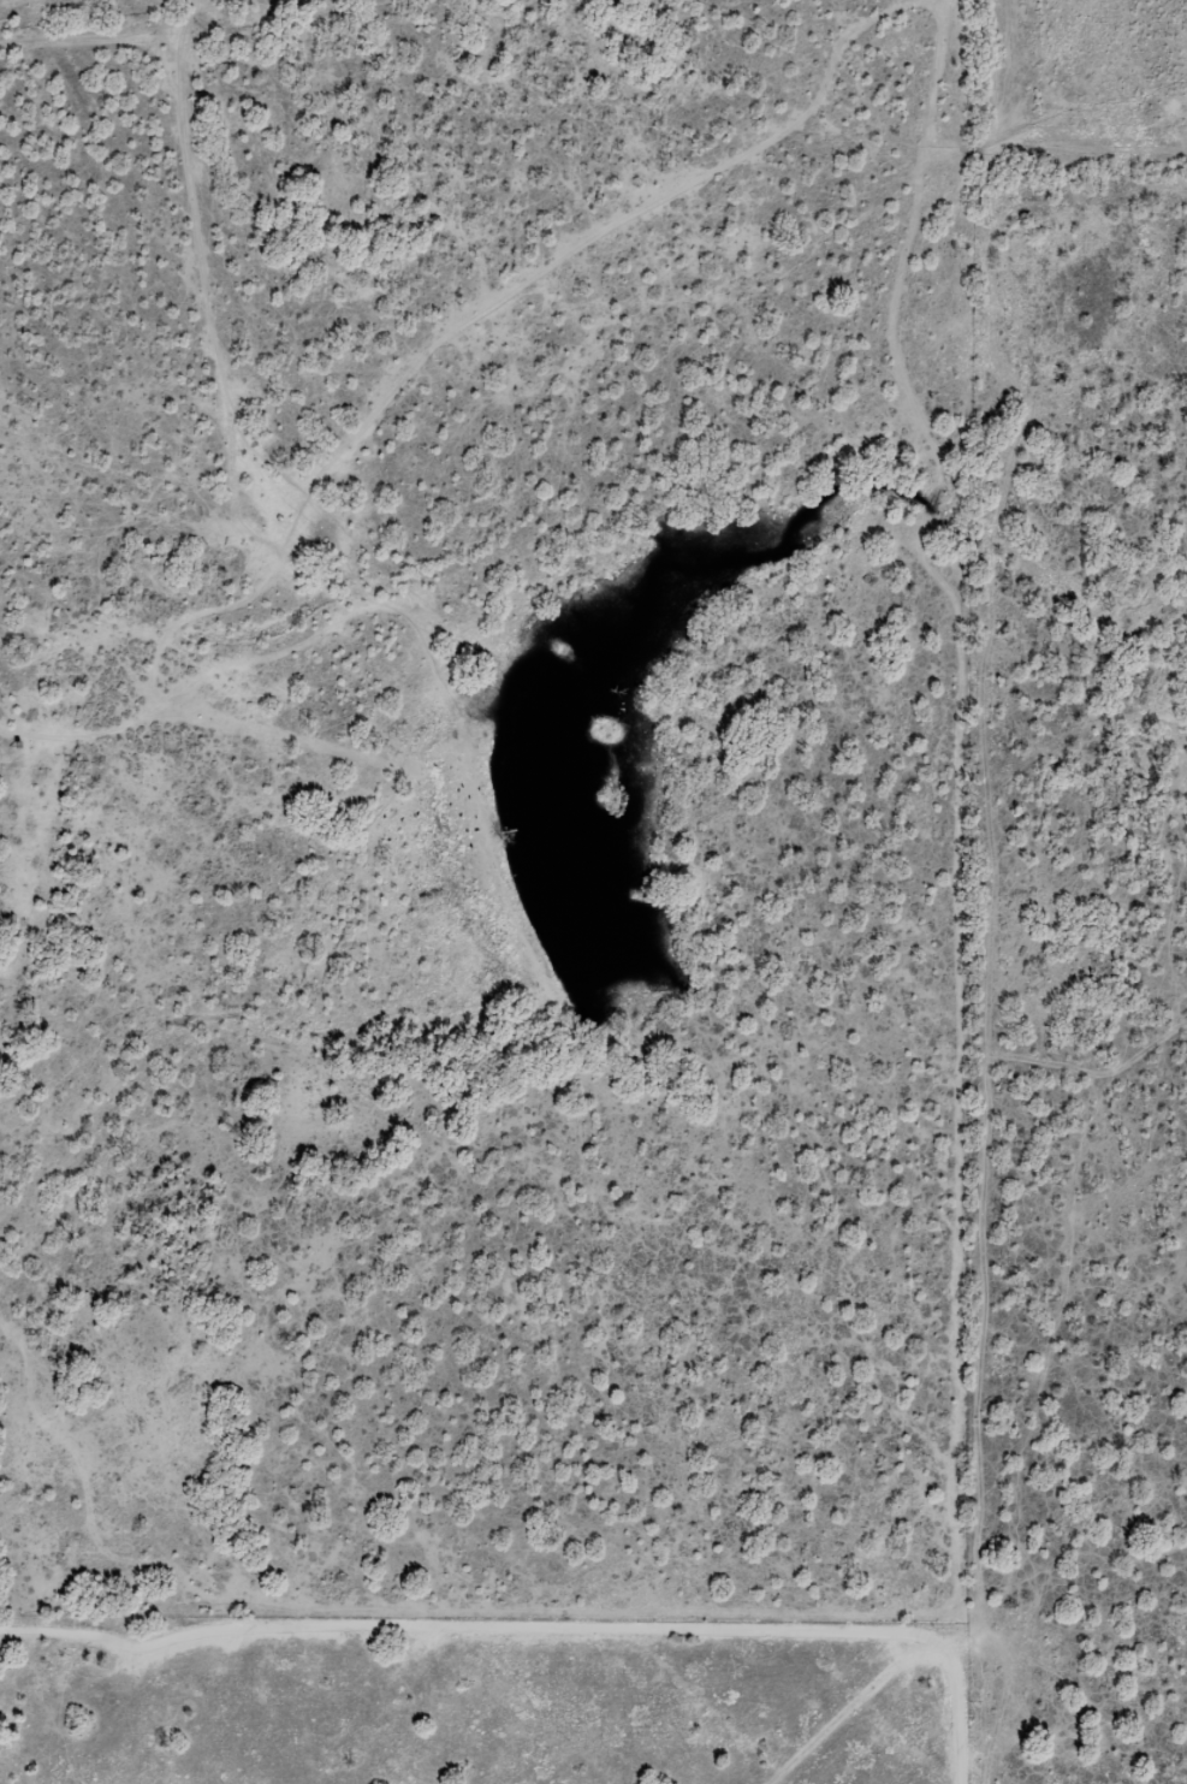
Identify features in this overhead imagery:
road: (1043, 1395)

